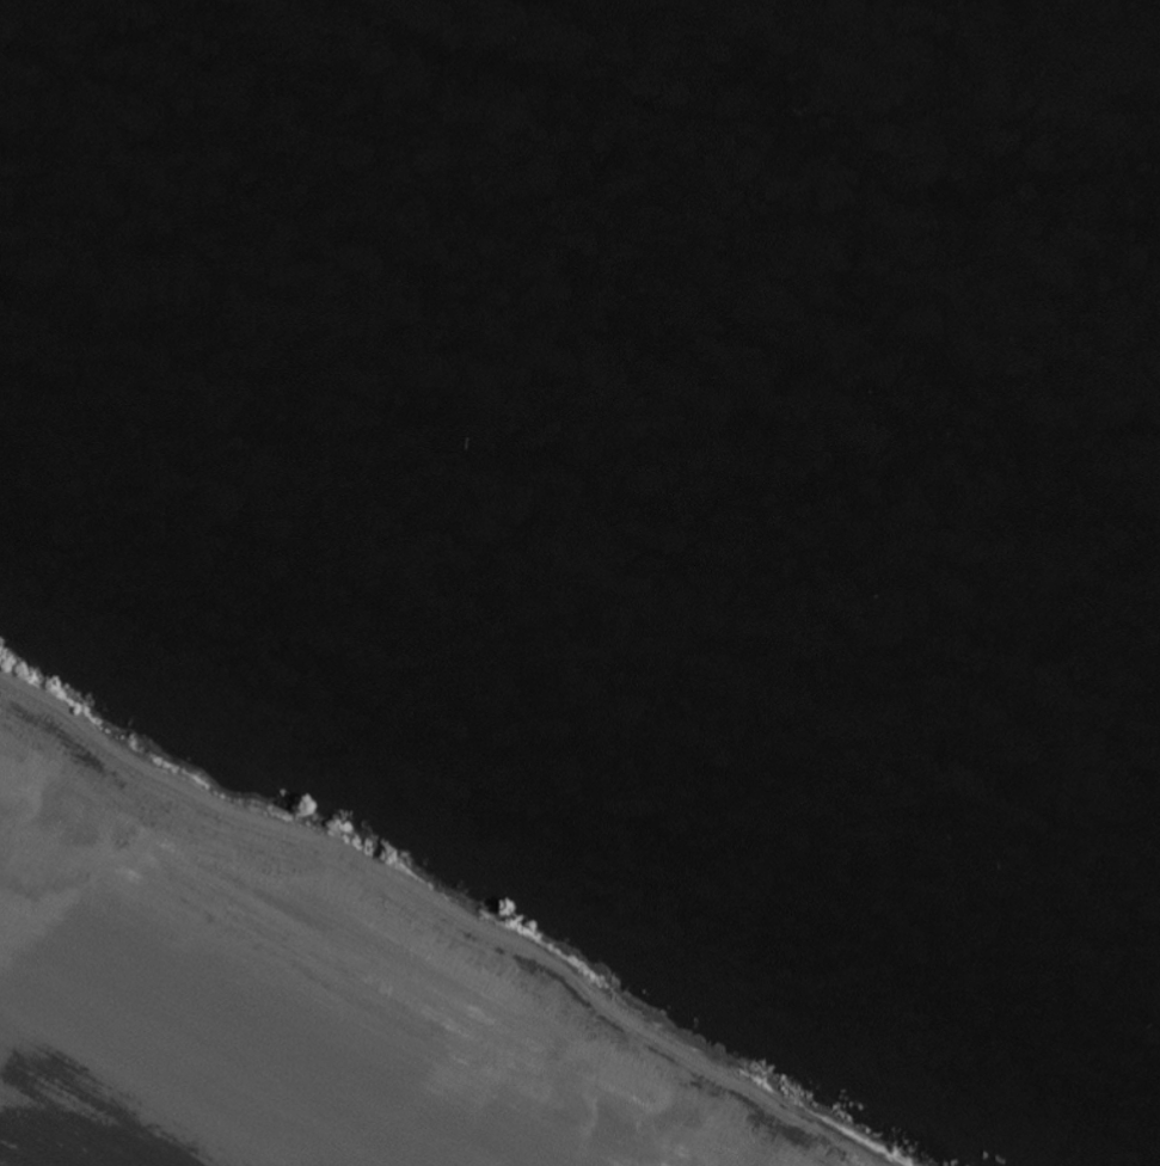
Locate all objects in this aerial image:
river: (971, 98)

